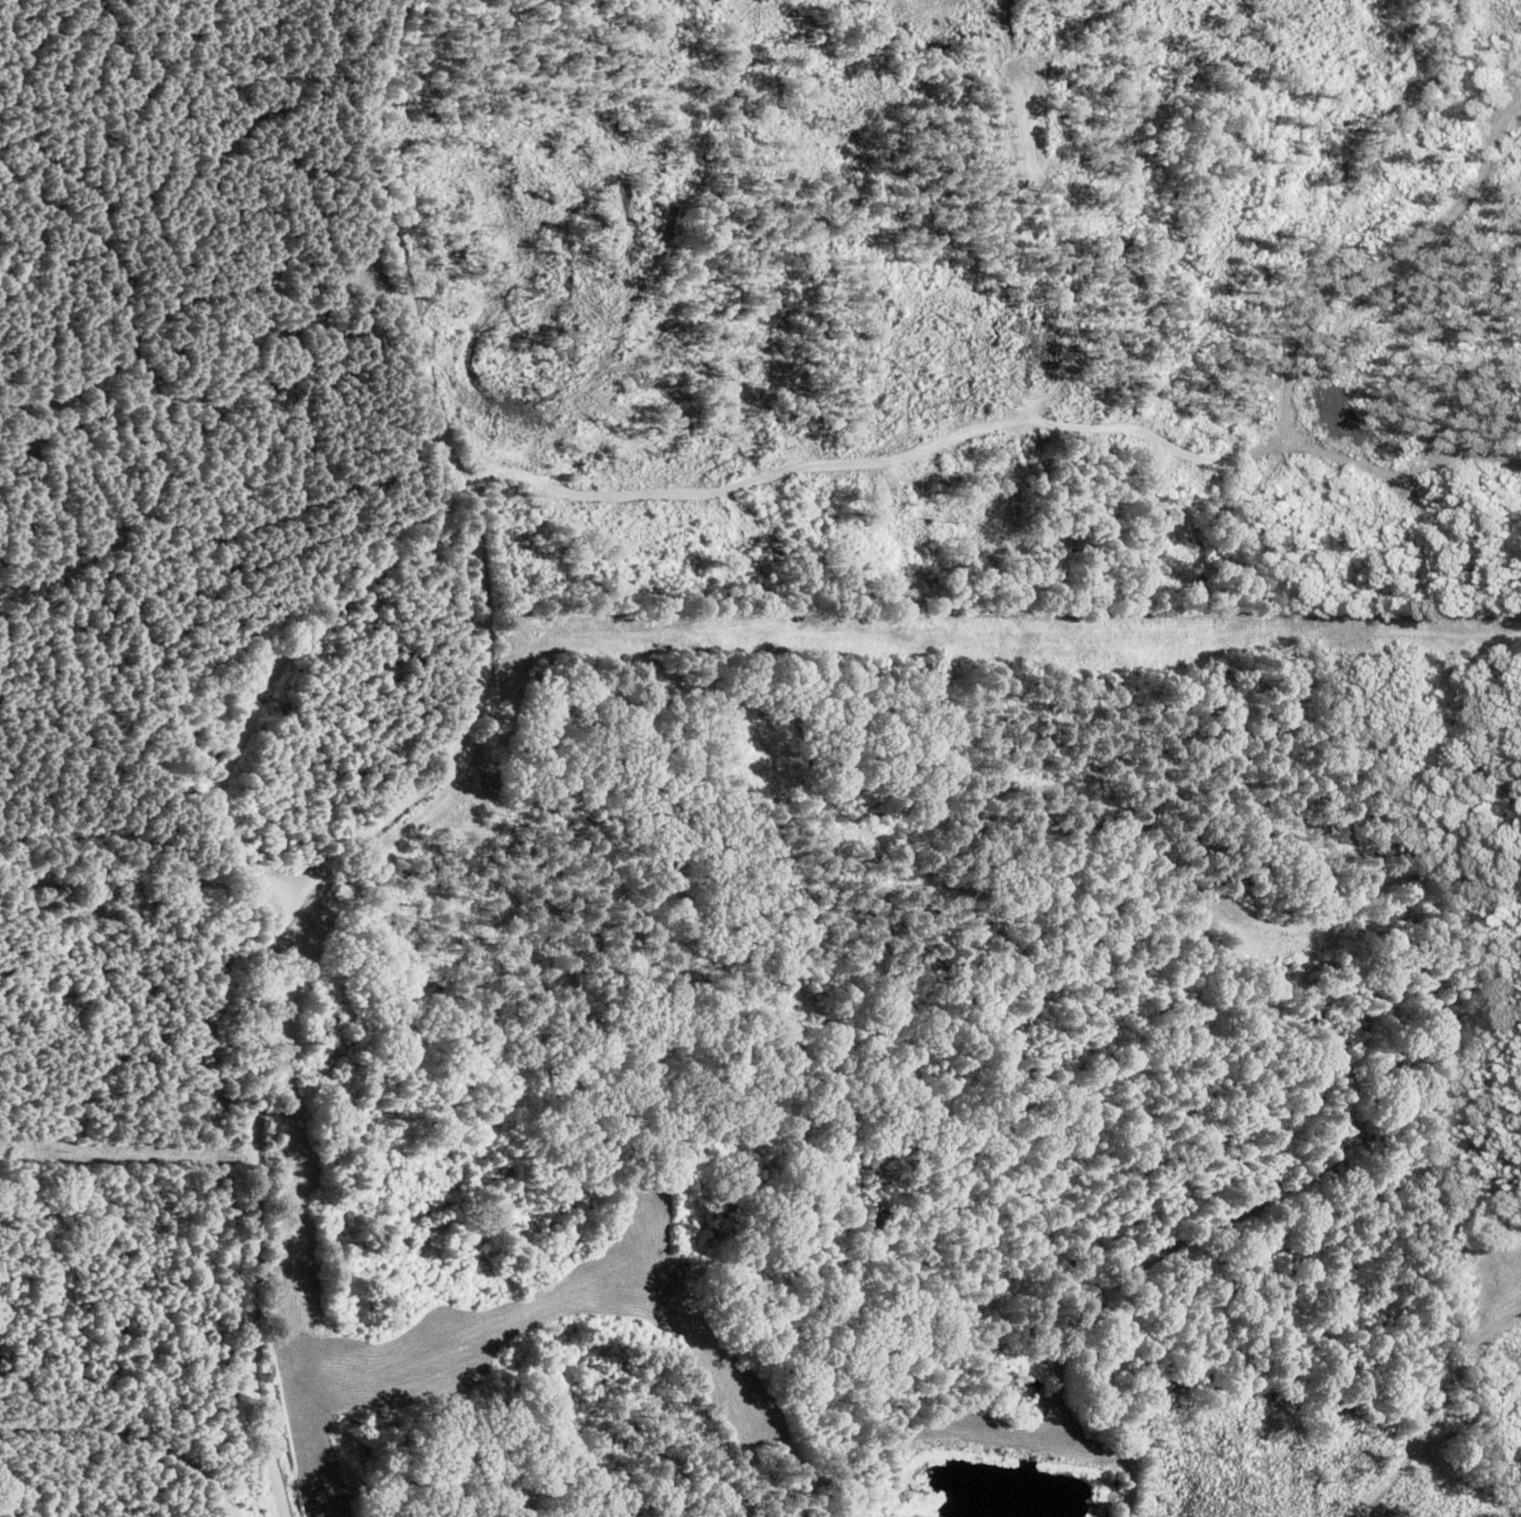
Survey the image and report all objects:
road: (427, 778)
road: (147, 881)

